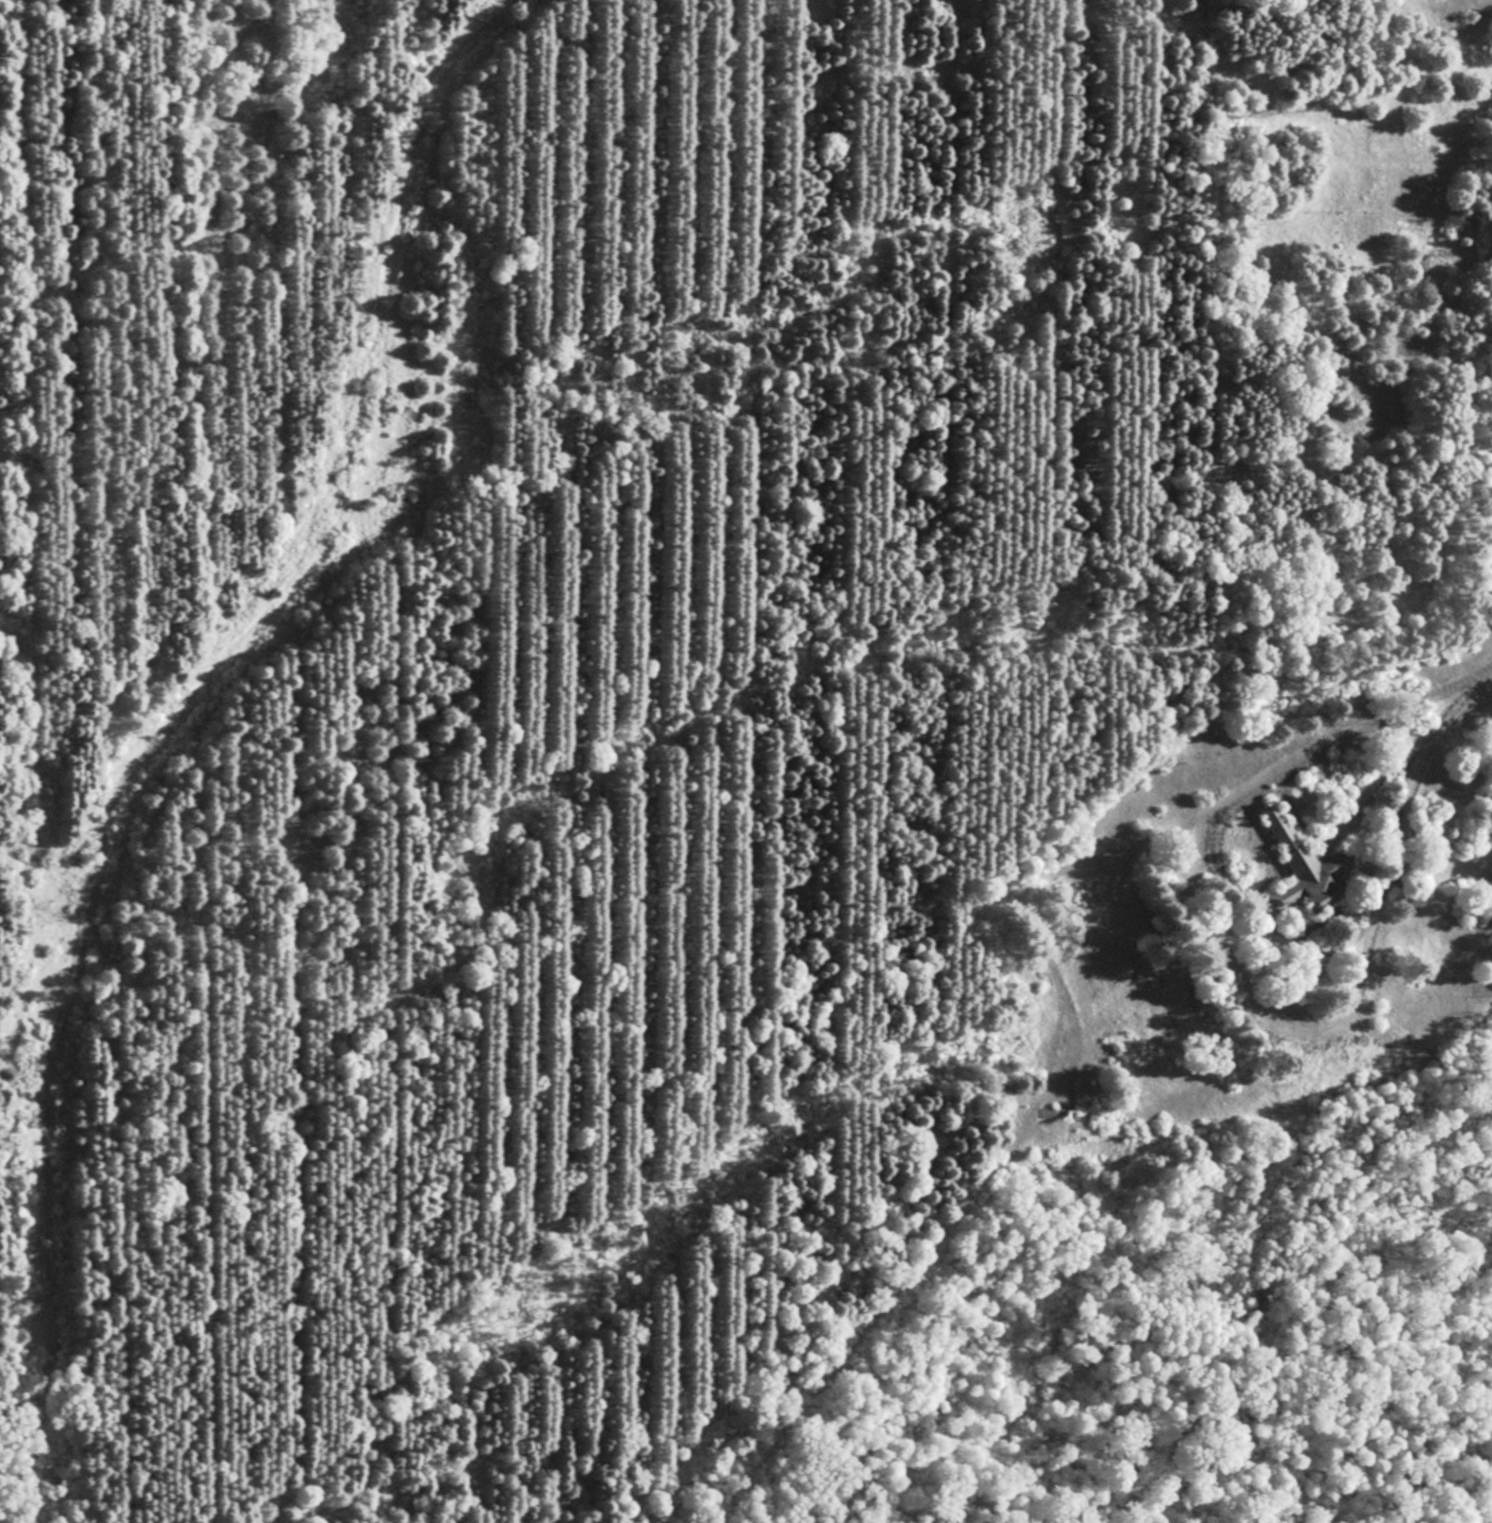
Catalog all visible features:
road: (1359, 728)
road: (1421, 732)
building: (1294, 864)

